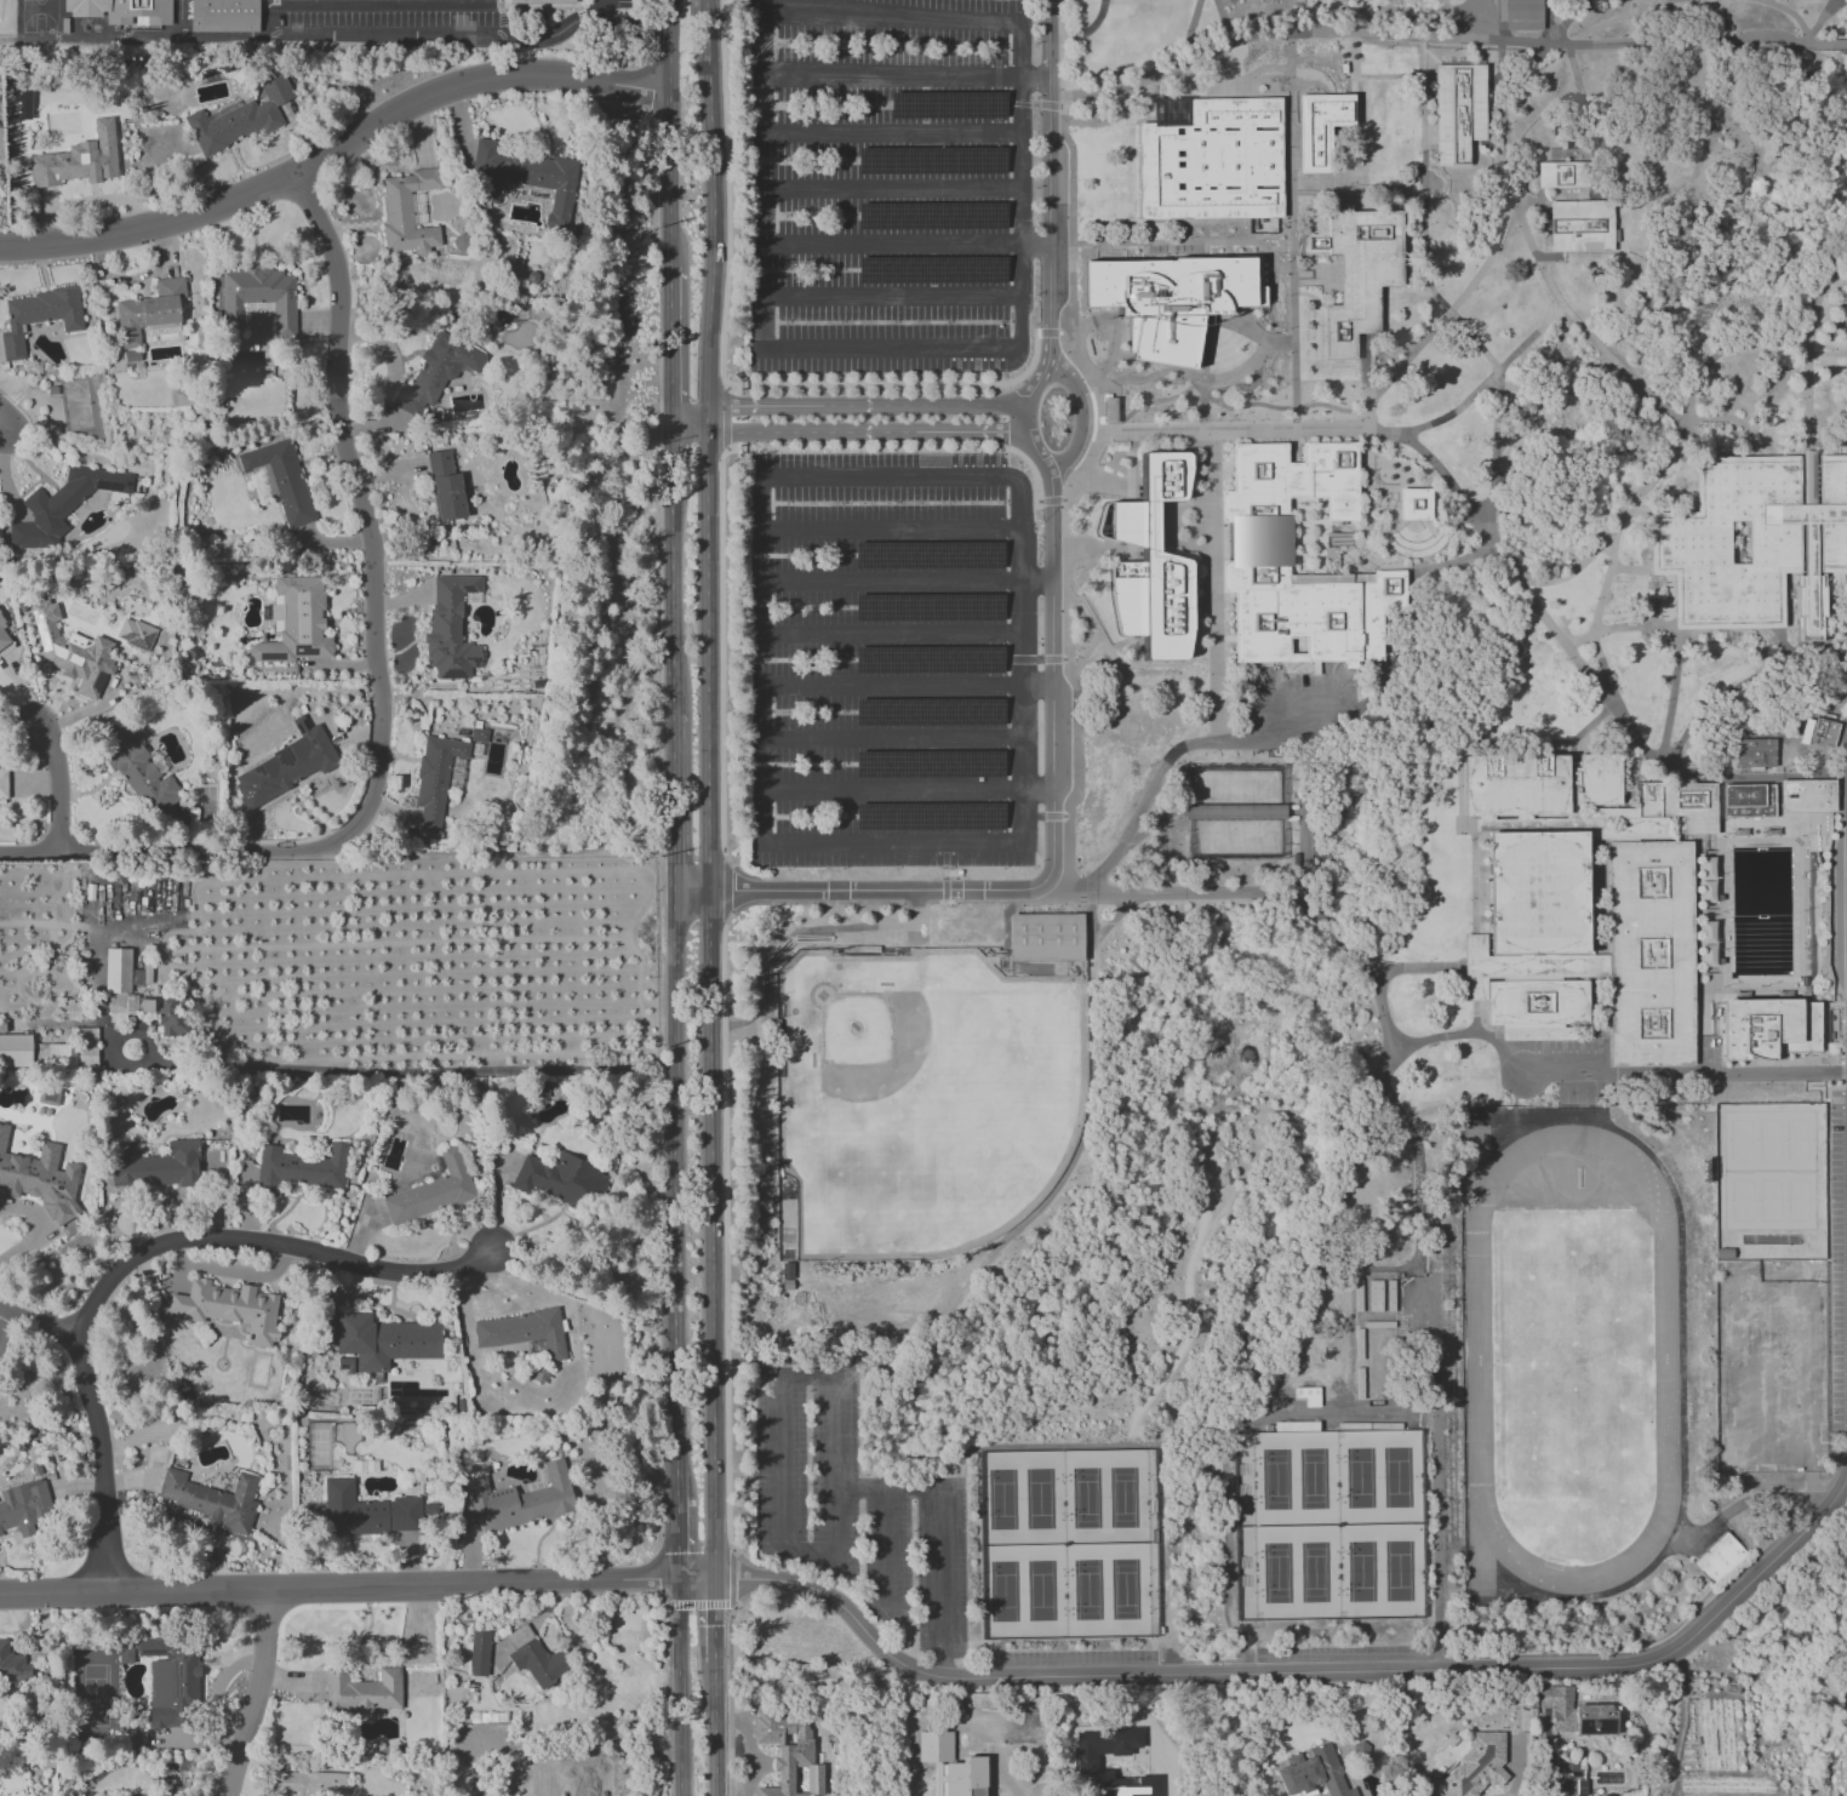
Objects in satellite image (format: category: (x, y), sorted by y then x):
building: (539, 1)
road: (1677, 1)
parking lot: (623, 4)
building: (124, 11)
building: (1521, 15)
road: (1789, 15)
park: (40, 16)
building: (225, 16)
road: (1287, 17)
road: (834, 18)
parking lot: (384, 19)
road: (1224, 21)
road: (1549, 21)
road: (1566, 21)
road: (1614, 21)
road: (1090, 28)
road: (697, 36)
road: (707, 36)
road: (442, 38)
road: (133, 40)
road: (1441, 40)
road: (1356, 48)
road: (904, 75)
road: (1389, 78)
road: (1020, 79)
building: (24, 104)
road: (1035, 105)
building: (1458, 113)
building: (239, 119)
road: (1060, 119)
road: (1591, 121)
building: (1320, 130)
road: (668, 133)
road: (891, 133)
road: (333, 147)
building: (79, 159)
building: (1212, 162)
road: (1047, 171)
road: (1291, 176)
building: (1561, 176)
building: (527, 178)
road: (1423, 179)
building: (407, 212)
building: (1579, 227)
road: (765, 231)
road: (713, 240)
road: (1020, 242)
road: (1293, 257)
street lamp: (1542, 269)
building: (1355, 270)
road: (1545, 280)
road: (1407, 291)
road: (1466, 291)
road: (1309, 297)
building: (259, 298)
building: (148, 310)
building: (38, 316)
road: (1069, 316)
road: (762, 325)
road: (1750, 326)
road: (1050, 333)
road: (668, 337)
street lamp: (1481, 343)
road: (1812, 343)
building: (1246, 344)
building: (1153, 345)
road: (1603, 351)
road: (1828, 355)
road: (1294, 358)
street lamp: (1517, 362)
road: (722, 366)
road: (1399, 368)
building: (436, 373)
road: (389, 376)
building: (248, 379)
road: (1225, 387)
road: (1342, 387)
road: (1148, 388)
road: (1522, 389)
road: (1555, 390)
road: (1217, 400)
road: (1245, 405)
road: (1326, 405)
road: (1660, 405)
road: (688, 407)
road: (864, 407)
road: (1022, 407)
road: (1083, 408)
road: (1149, 408)
road: (1099, 411)
street lamp: (1447, 412)
road: (1680, 419)
road: (670, 421)
road: (707, 421)
road: (1731, 421)
road: (1522, 423)
road: (1, 430)
road: (1326, 431)
road: (688, 434)
road: (810, 434)
road: (967, 434)
street lamp: (1400, 445)
road: (671, 454)
road: (1493, 456)
road: (618, 461)
street lamp: (1500, 462)
street lamp: (1426, 465)
building: (281, 479)
building: (267, 480)
building: (445, 486)
road: (721, 492)
road: (1050, 501)
building: (1414, 504)
building: (62, 505)
road: (761, 505)
road: (1616, 524)
building: (1755, 542)
building: (1259, 543)
building: (1150, 562)
road: (1457, 562)
road: (1505, 565)
road: (1053, 578)
road: (1213, 587)
road: (761, 593)
road: (671, 594)
road: (1603, 596)
building: (295, 622)
building: (450, 629)
building: (136, 634)
building: (2, 635)
road: (1806, 648)
building: (72, 652)
road: (1837, 657)
parking lot: (892, 660)
road: (1020, 662)
road: (377, 675)
road: (1586, 676)
road: (762, 697)
building: (1818, 732)
building: (478, 736)
road: (1174, 753)
building: (1755, 755)
building: (286, 765)
building: (138, 768)
building: (435, 779)
road: (1053, 779)
building: (2, 784)
road: (59, 785)
building: (1538, 785)
building: (1807, 797)
building: (1748, 802)
road: (761, 803)
road: (673, 805)
building: (1680, 805)
road: (511, 845)
road: (944, 873)
road: (944, 890)
road: (1060, 890)
road: (727, 891)
road: (1208, 891)
road: (867, 893)
road: (1474, 897)
road: (1002, 902)
road: (916, 903)
road: (1116, 915)
road: (794, 931)
road: (1336, 932)
building: (1046, 939)
building: (1533, 939)
building: (1649, 955)
road: (1423, 968)
building: (119, 986)
road: (709, 1007)
building: (168, 1017)
road: (1475, 1018)
building: (1769, 1031)
road: (1429, 1040)
building: (13, 1048)
building: (56, 1056)
road: (126, 1065)
road: (408, 1073)
road: (1683, 1074)
street lamp: (1557, 1082)
building: (48, 1094)
park: (921, 1098)
park: (1768, 1140)
park: (1797, 1140)
park: (1742, 1142)
road: (725, 1148)
building: (156, 1166)
building: (299, 1168)
road: (1067, 1169)
building: (40, 1179)
building: (560, 1179)
building: (431, 1191)
road: (674, 1196)
park: (1771, 1200)
park: (1799, 1200)
park: (1742, 1201)
road: (1418, 1202)
road: (32, 1229)
road: (143, 1252)
road: (585, 1257)
parking lot: (1836, 1260)
road: (1779, 1272)
road: (1189, 1276)
building: (229, 1309)
road: (38, 1326)
building: (522, 1332)
road: (1303, 1334)
building: (384, 1340)
track: (1665, 1360)
parking lot: (1769, 1360)
park: (1572, 1367)
road: (817, 1375)
road: (1435, 1434)
building: (541, 1475)
park: (1360, 1478)
park: (1397, 1478)
park: (1275, 1480)
park: (1313, 1480)
park: (1090, 1498)
park: (1127, 1498)
building: (212, 1499)
building: (520, 1499)
park: (1042, 1499)
park: (1006, 1502)
road: (1742, 1504)
building: (24, 1508)
building: (365, 1511)
parking lot: (858, 1516)
road: (940, 1533)
road: (1801, 1533)
road: (679, 1539)
building: (1720, 1560)
road: (887, 1572)
park: (1360, 1572)
park: (1399, 1572)
park: (1277, 1573)
park: (1315, 1573)
road: (732, 1577)
road: (358, 1589)
park: (1128, 1590)
park: (1043, 1591)
park: (1091, 1591)
park: (1006, 1592)
road: (701, 1606)
road: (715, 1615)
road: (1493, 1619)
building: (479, 1653)
building: (534, 1658)
building: (12, 1665)
road: (1231, 1672)
building: (170, 1680)
road: (681, 1687)
building: (361, 1692)
road: (258, 1695)
building: (1578, 1714)
road: (715, 1723)
building: (790, 1755)
building: (1476, 1766)
building: (1311, 1773)
building: (539, 1778)
building: (962, 1778)
building: (307, 1783)
road: (1552, 1794)

